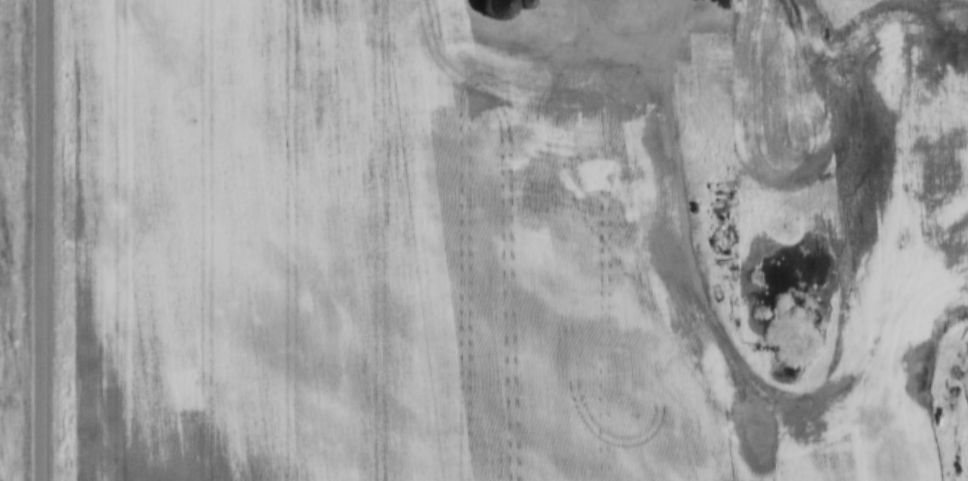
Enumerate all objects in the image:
building: (497, 8)
building: (696, 70)
road: (40, 240)

